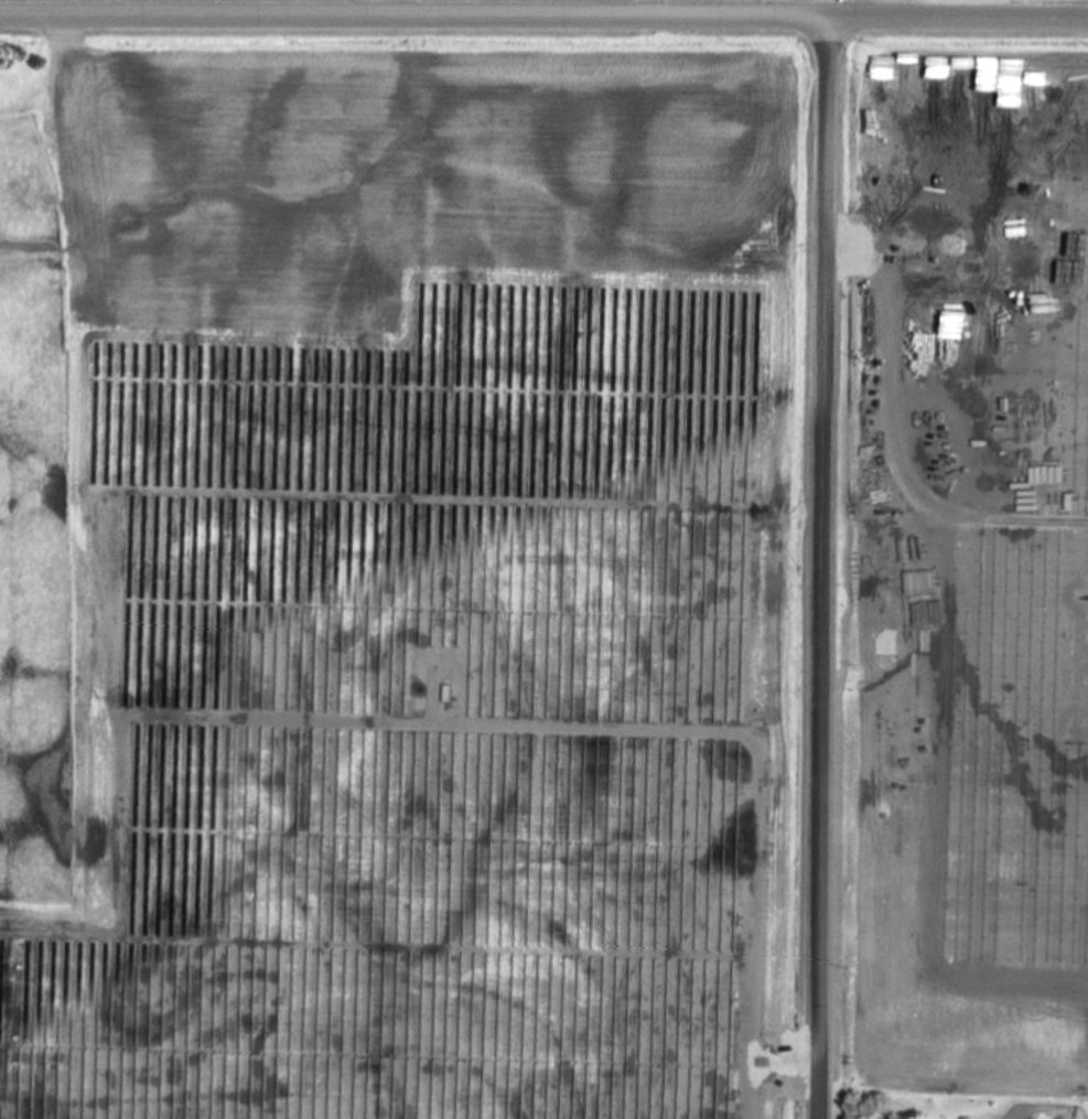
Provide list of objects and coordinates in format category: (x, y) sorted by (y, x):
road: (654, 9)
road: (900, 9)
road: (543, 17)
road: (51, 111)
road: (822, 569)
solar farm: (597, 679)

